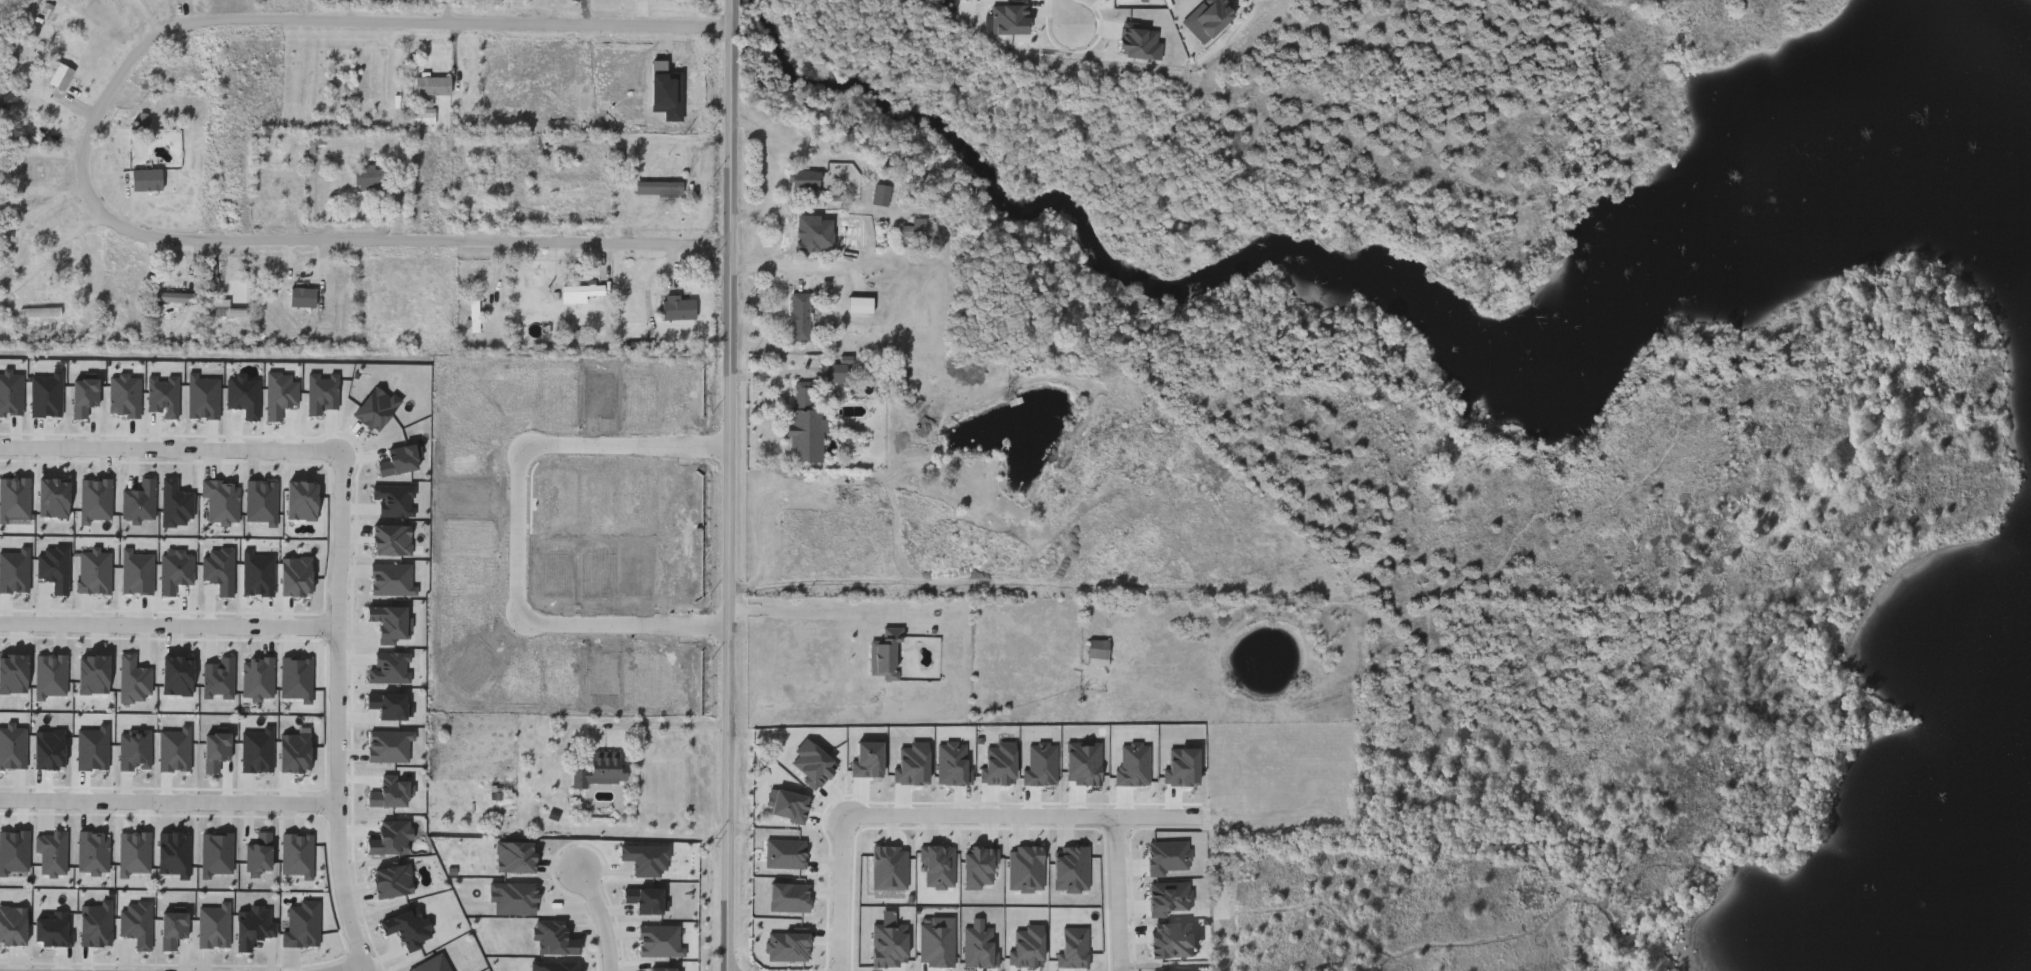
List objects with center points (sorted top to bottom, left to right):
road: (1065, 12)
building: (186, 71)
building: (61, 79)
building: (434, 85)
building: (424, 115)
road: (88, 150)
building: (370, 174)
building: (147, 179)
building: (807, 179)
building: (660, 187)
building: (882, 194)
building: (910, 230)
road: (32, 236)
building: (811, 236)
road: (807, 266)
building: (581, 291)
building: (175, 296)
building: (303, 296)
building: (229, 308)
building: (680, 309)
building: (40, 310)
building: (42, 313)
building: (477, 315)
building: (800, 315)
building: (833, 371)
building: (806, 421)
road: (169, 442)
road: (734, 485)
road: (522, 537)
road: (812, 613)
road: (169, 620)
building: (1099, 651)
road: (338, 713)
road: (652, 725)
building: (603, 771)
building: (821, 795)
road: (169, 798)
road: (938, 816)
road: (1120, 893)
road: (603, 912)
road: (348, 964)

